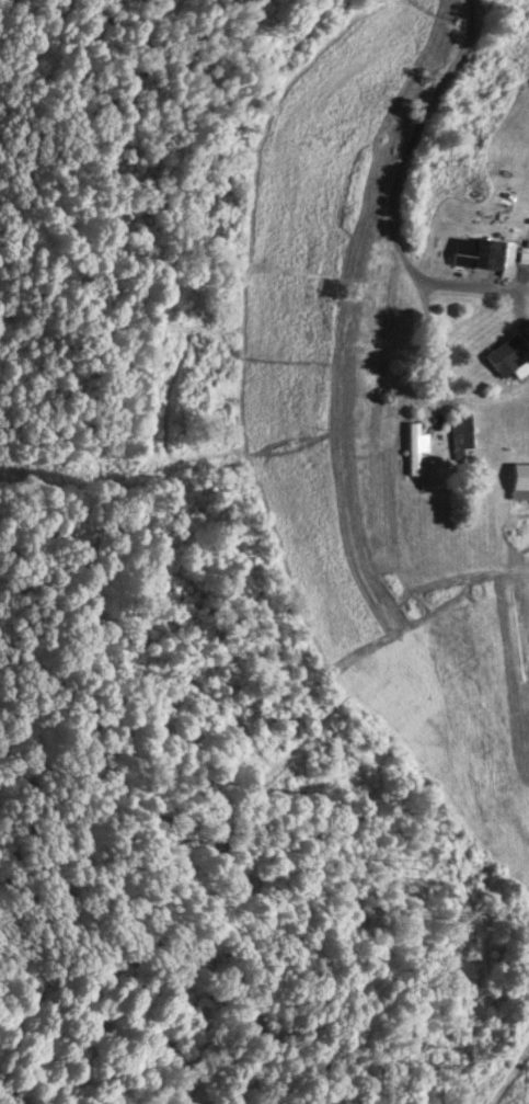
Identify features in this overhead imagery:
road: (398, 179)
building: (511, 210)
building: (478, 252)
building: (365, 312)
building: (504, 354)
building: (461, 433)
building: (415, 448)
building: (518, 492)

